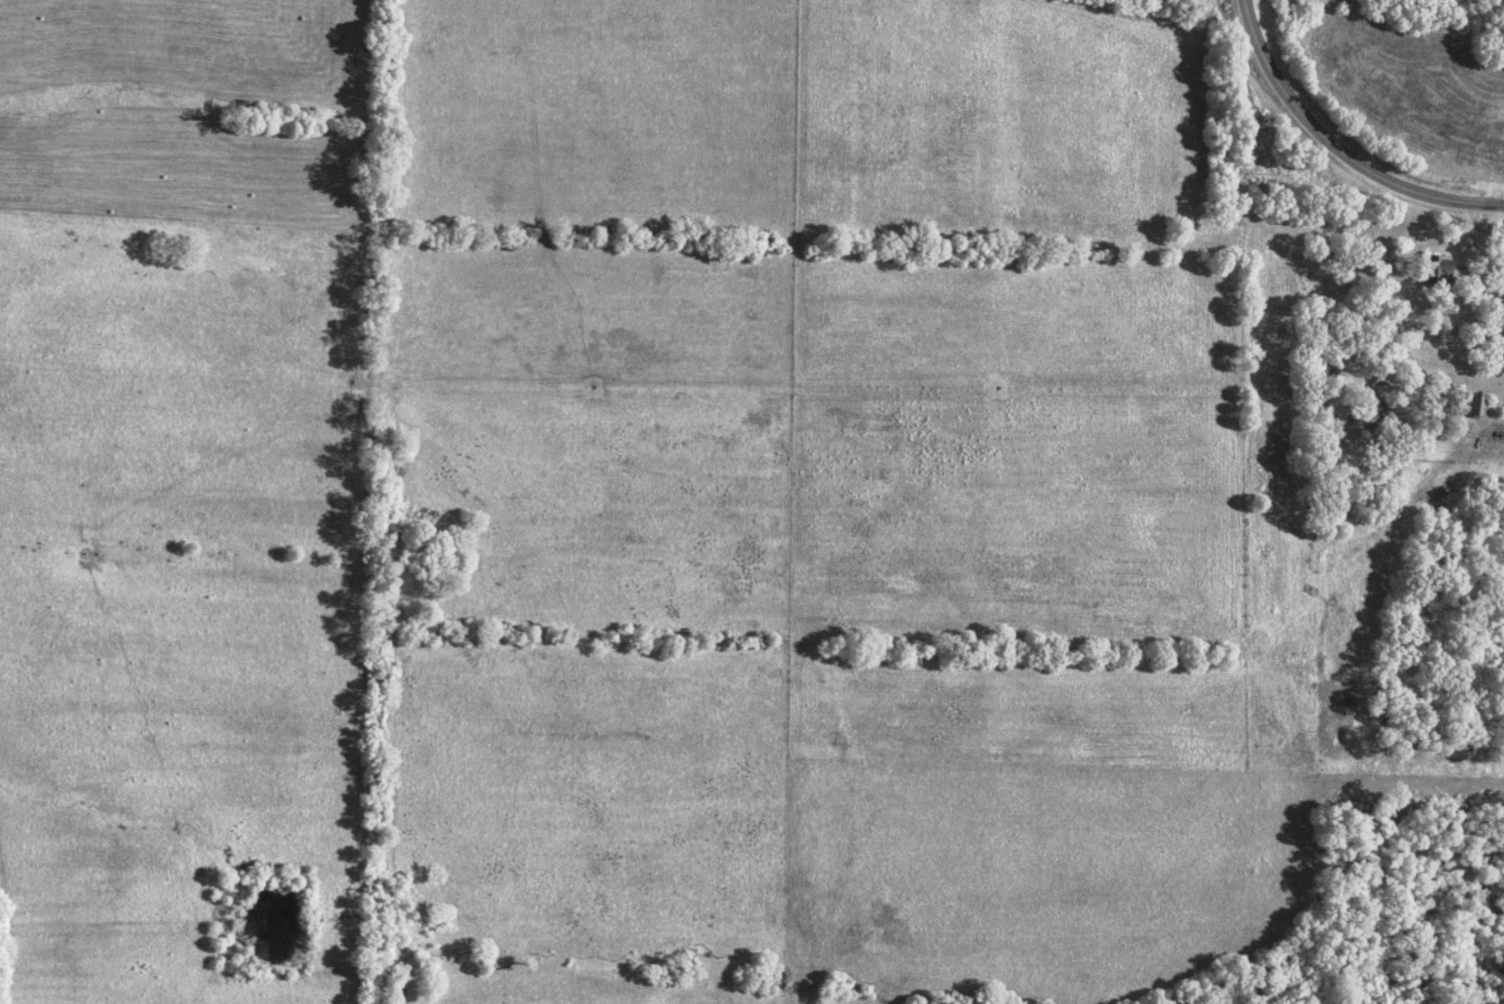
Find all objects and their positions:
road: (1339, 144)
building: (1439, 266)
building: (1474, 404)

